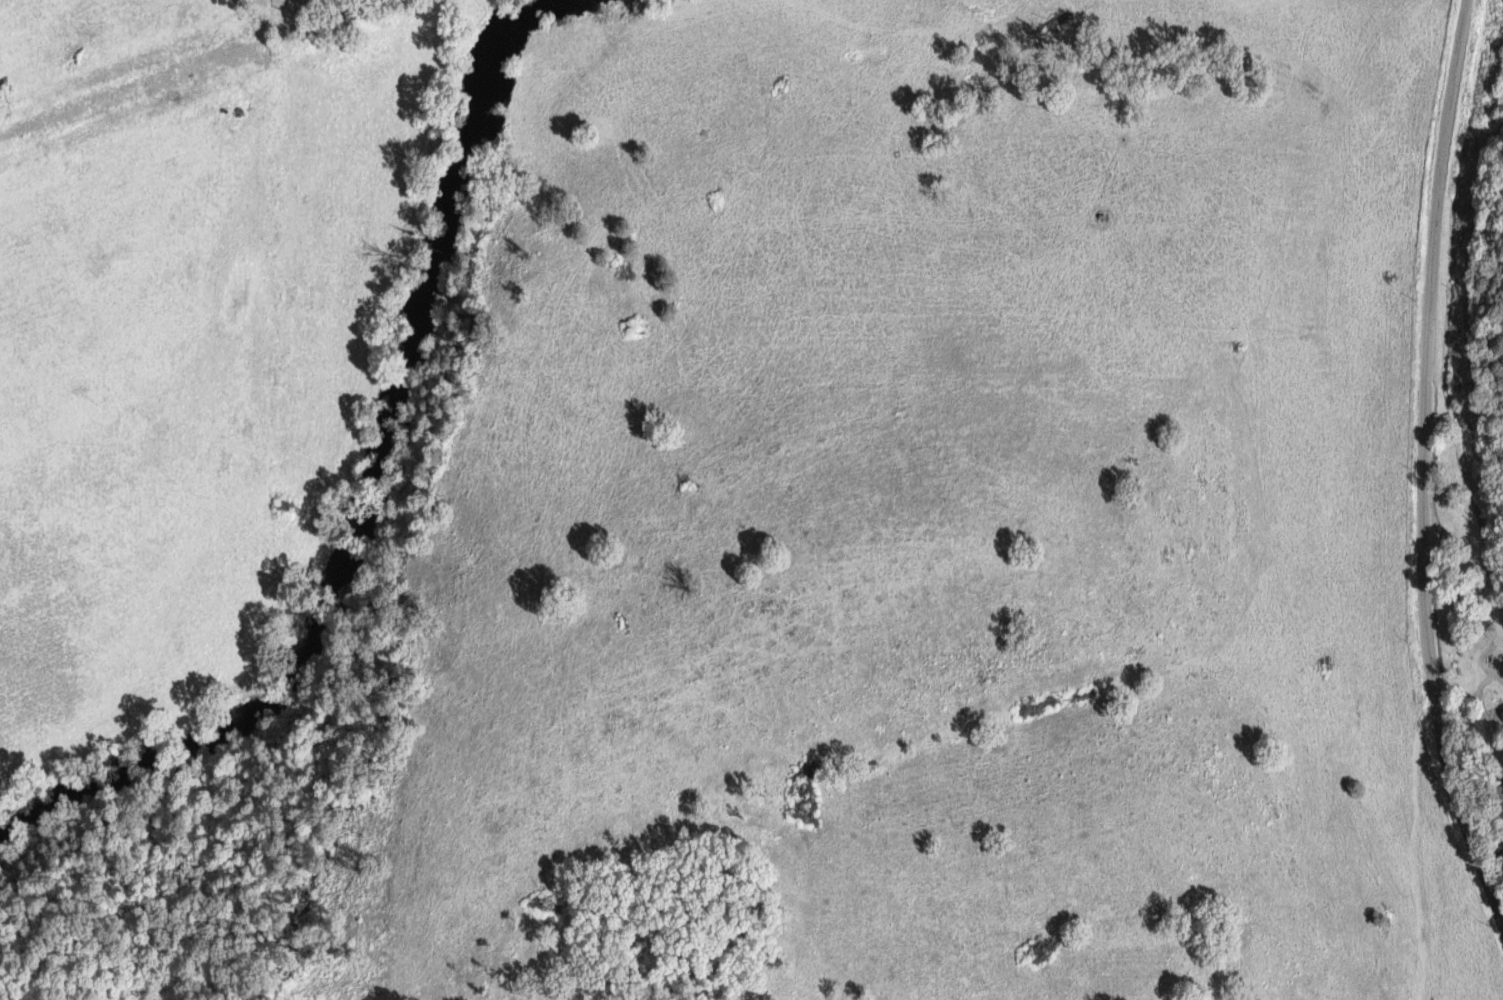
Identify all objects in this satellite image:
road: (1421, 467)
road: (1473, 615)
road: (1498, 777)

